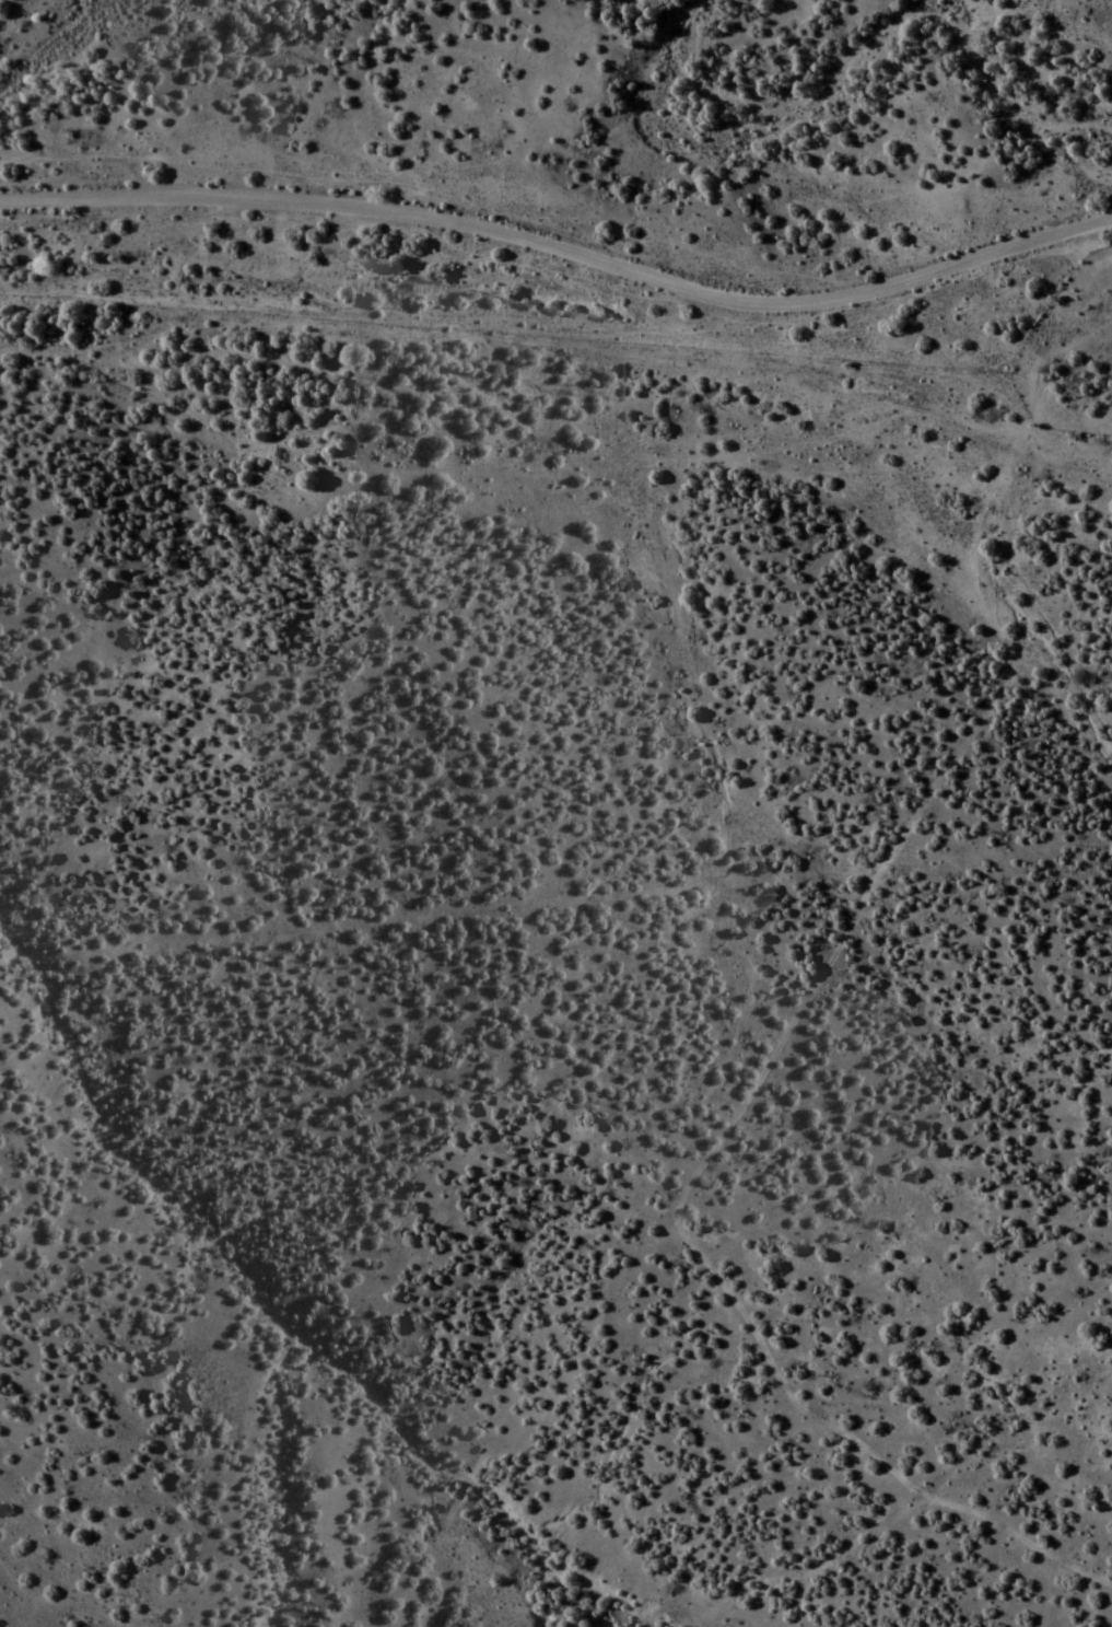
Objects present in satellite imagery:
road: (563, 246)

